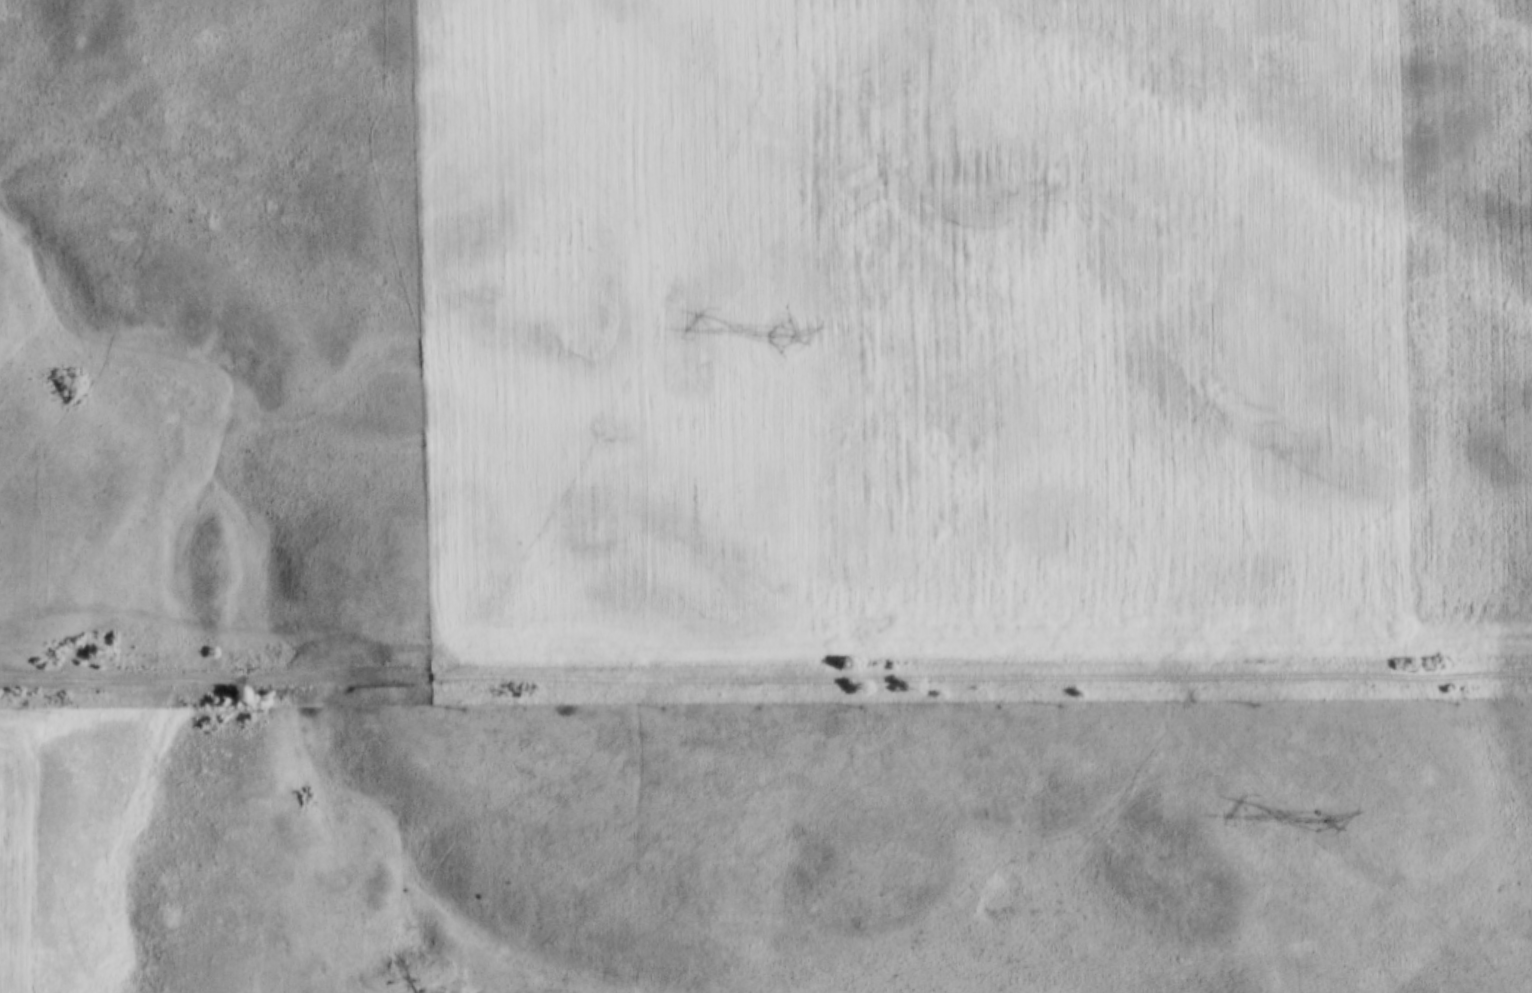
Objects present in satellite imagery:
power tower: (781, 339)
road: (765, 676)
power tower: (1317, 825)

